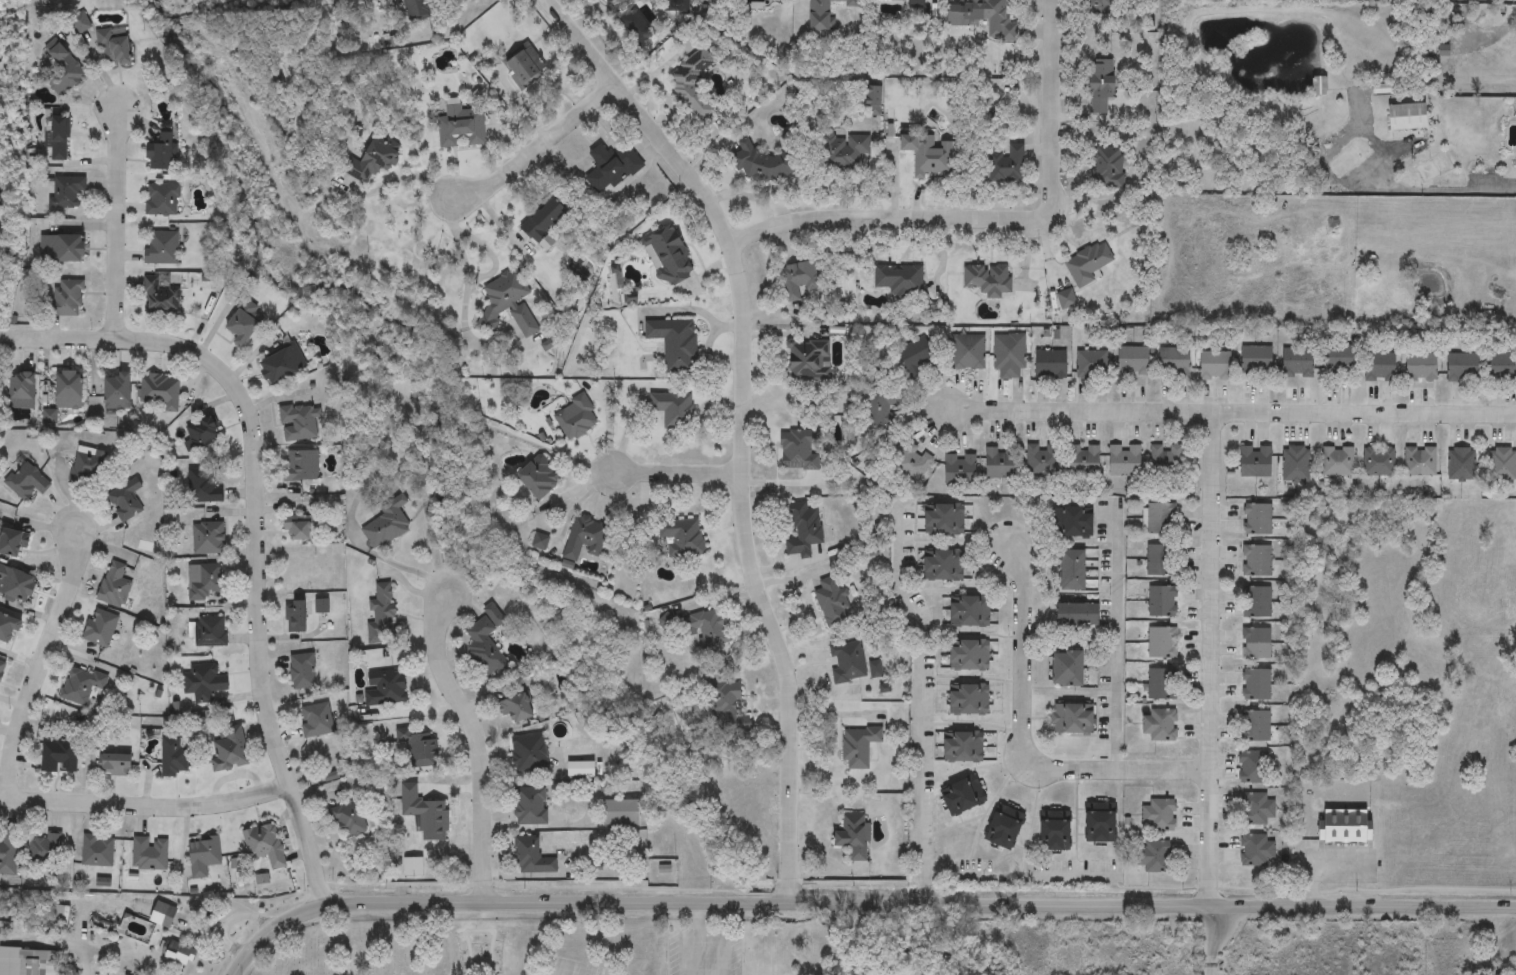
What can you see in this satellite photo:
building: (777, 0)
building: (606, 1)
building: (1104, 3)
building: (916, 4)
building: (415, 9)
building: (982, 12)
building: (825, 13)
building: (114, 49)
building: (523, 66)
building: (63, 71)
building: (692, 83)
building: (1103, 87)
building: (1320, 87)
building: (1408, 117)
building: (461, 127)
building: (59, 139)
road: (536, 148)
building: (163, 152)
building: (844, 153)
building: (928, 156)
building: (761, 162)
building: (372, 163)
building: (1106, 164)
building: (1007, 165)
building: (611, 168)
road: (398, 178)
building: (67, 193)
road: (1429, 193)
building: (163, 200)
building: (0, 201)
road: (996, 220)
building: (544, 221)
road: (117, 223)
building: (161, 248)
building: (62, 250)
road: (486, 253)
building: (668, 257)
building: (1087, 264)
road: (463, 275)
building: (798, 280)
building: (900, 280)
building: (989, 280)
building: (160, 294)
building: (68, 298)
building: (508, 303)
building: (243, 328)
building: (676, 344)
building: (968, 353)
building: (917, 356)
building: (1009, 357)
building: (1134, 359)
building: (810, 360)
building: (1173, 360)
building: (1257, 360)
building: (1298, 363)
building: (1339, 364)
building: (283, 366)
building: (1091, 366)
building: (1216, 366)
building: (1052, 367)
building: (1463, 367)
building: (1380, 368)
building: (1502, 368)
building: (1421, 371)
building: (22, 387)
building: (68, 390)
building: (159, 392)
building: (117, 393)
building: (880, 409)
building: (673, 410)
road: (1230, 411)
building: (576, 419)
building: (299, 424)
road: (743, 424)
road: (1215, 431)
building: (201, 435)
building: (800, 450)
building: (1044, 461)
building: (1085, 461)
building: (1126, 461)
building: (1338, 462)
building: (1379, 462)
building: (1421, 462)
building: (1003, 463)
building: (1167, 463)
building: (1257, 463)
building: (912, 464)
building: (1296, 465)
building: (1503, 465)
building: (1462, 466)
building: (302, 467)
building: (88, 468)
building: (961, 472)
road: (679, 473)
building: (541, 478)
building: (26, 482)
building: (202, 488)
building: (125, 500)
building: (1162, 520)
building: (944, 521)
building: (1258, 521)
road: (256, 523)
building: (1073, 524)
building: (388, 525)
building: (297, 529)
building: (804, 531)
building: (208, 538)
building: (585, 538)
building: (683, 538)
building: (12, 544)
building: (1159, 561)
building: (1257, 562)
building: (944, 566)
building: (300, 569)
building: (1075, 572)
building: (204, 581)
building: (16, 586)
building: (114, 586)
building: (1163, 602)
building: (832, 603)
building: (1257, 603)
building: (970, 611)
building: (382, 615)
building: (1077, 615)
building: (321, 616)
building: (296, 618)
building: (668, 622)
building: (706, 627)
building: (99, 628)
building: (8, 629)
building: (210, 632)
road: (1112, 634)
building: (486, 644)
building: (1162, 644)
building: (1256, 645)
building: (969, 656)
building: (847, 662)
road: (42, 665)
building: (2, 669)
building: (875, 669)
building: (1069, 670)
building: (302, 672)
road: (1212, 680)
building: (203, 682)
building: (1159, 684)
building: (1256, 685)
building: (80, 686)
building: (386, 688)
building: (729, 698)
building: (969, 700)
road: (922, 703)
building: (517, 709)
building: (1071, 720)
building: (317, 721)
building: (1160, 725)
building: (1255, 726)
road: (476, 741)
road: (1023, 743)
building: (859, 747)
building: (420, 748)
building: (964, 748)
building: (230, 749)
building: (530, 756)
building: (58, 757)
building: (174, 757)
building: (116, 765)
building: (1253, 768)
building: (582, 770)
building: (963, 796)
road: (146, 807)
building: (530, 807)
building: (1256, 809)
building: (621, 814)
building: (1159, 816)
building: (352, 821)
building: (1102, 827)
building: (1346, 827)
building: (1005, 828)
building: (852, 832)
building: (1056, 832)
building: (265, 847)
building: (8, 849)
building: (45, 851)
building: (97, 851)
building: (1256, 851)
building: (149, 854)
building: (203, 856)
building: (1154, 857)
building: (532, 858)
road: (1315, 867)
road: (1020, 872)
road: (862, 902)
road: (193, 910)
building: (162, 915)
road: (694, 920)
road: (703, 936)
road: (1206, 941)
park: (392, 950)
building: (176, 952)
building: (37, 962)
road: (85, 966)

